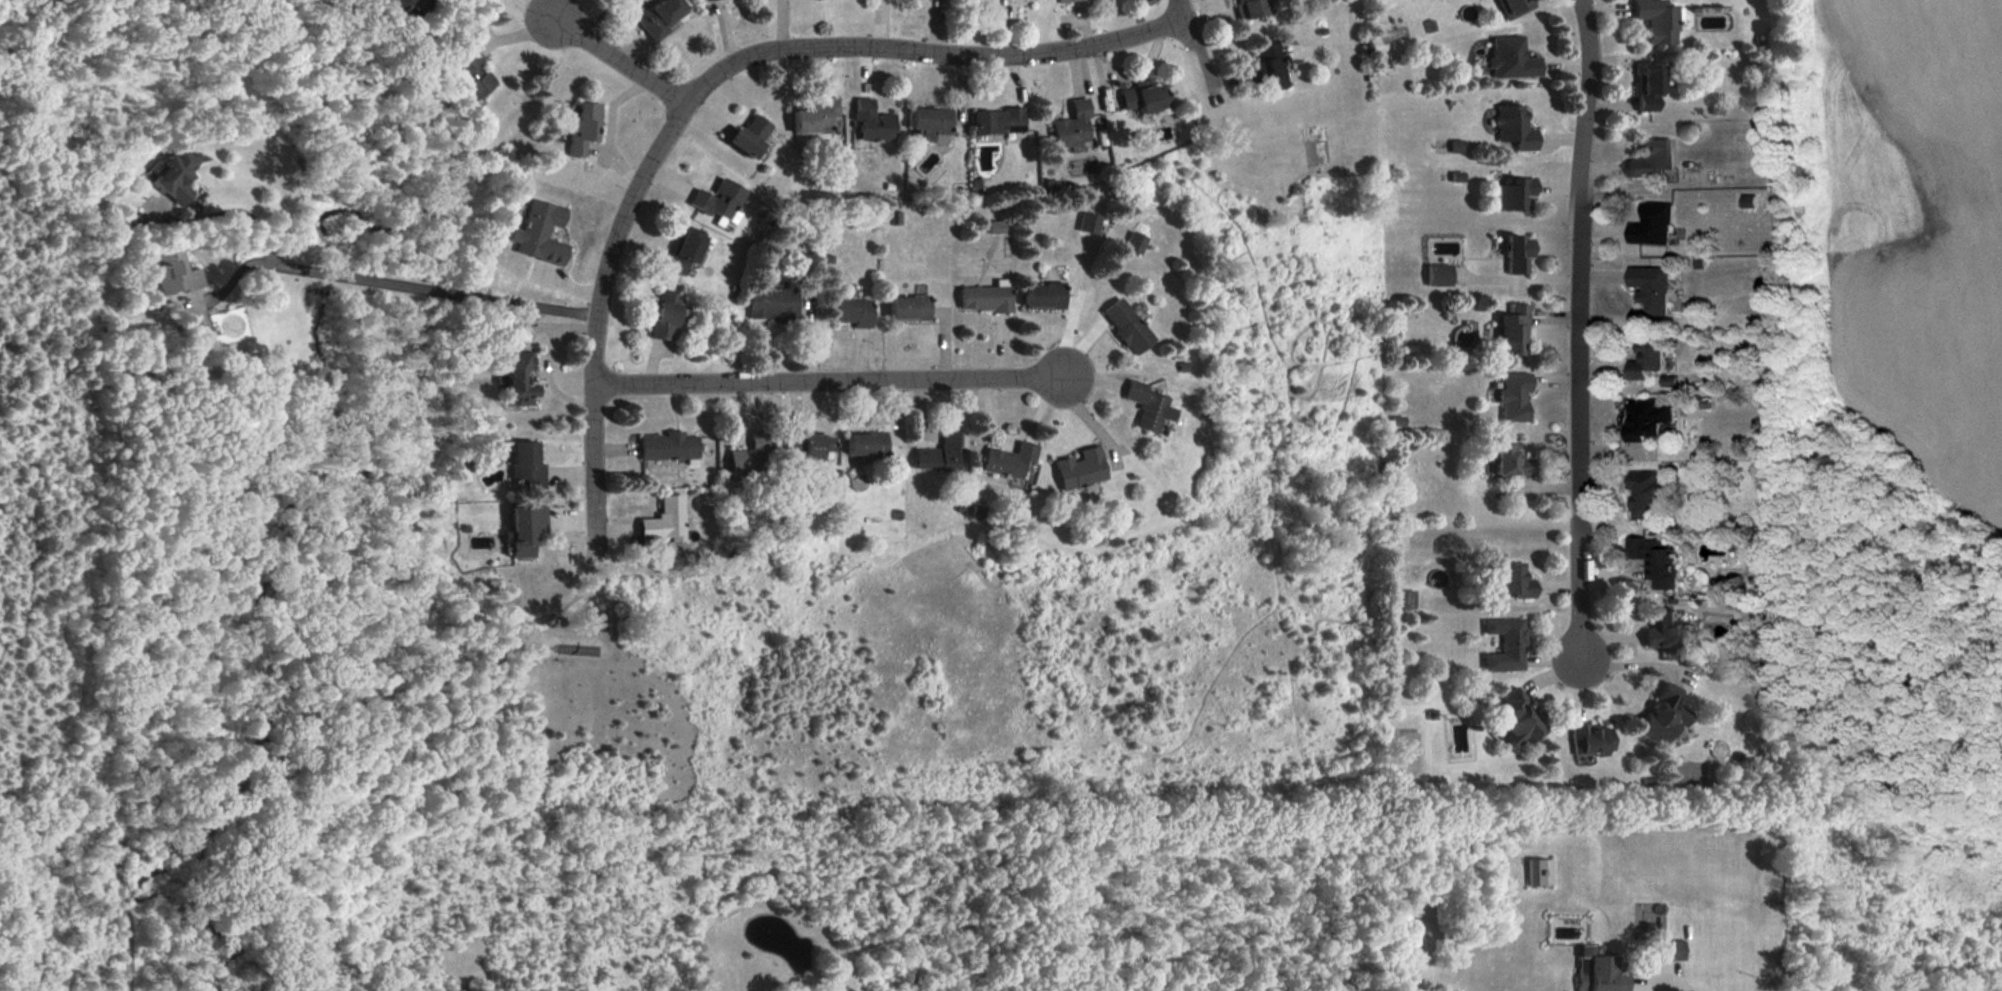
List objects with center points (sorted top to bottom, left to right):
building: (709, 0)
building: (702, 1)
building: (1069, 2)
building: (1511, 5)
building: (403, 8)
road: (532, 9)
road: (1180, 9)
building: (1247, 10)
building: (652, 13)
building: (1653, 22)
road: (1004, 27)
building: (1508, 55)
road: (618, 59)
building: (1259, 63)
building: (462, 69)
building: (1644, 82)
building: (1140, 89)
road: (681, 108)
building: (807, 113)
building: (992, 117)
building: (866, 120)
building: (925, 120)
building: (1072, 120)
building: (1508, 122)
building: (577, 123)
building: (746, 133)
building: (1649, 154)
building: (170, 176)
building: (1510, 186)
building: (711, 194)
road: (236, 211)
building: (1647, 221)
building: (538, 223)
building: (1089, 224)
building: (997, 226)
crop: (1915, 237)
building: (1136, 243)
building: (685, 246)
building: (1515, 248)
building: (1434, 269)
building: (172, 273)
road: (387, 283)
building: (1648, 289)
building: (1043, 296)
building: (984, 298)
building: (771, 305)
building: (907, 308)
building: (851, 313)
building: (664, 315)
building: (1507, 325)
building: (1126, 326)
road: (1575, 333)
building: (1644, 361)
building: (518, 381)
road: (828, 381)
building: (1510, 393)
building: (1148, 407)
building: (1646, 414)
building: (807, 445)
building: (864, 445)
building: (667, 451)
building: (936, 455)
building: (1505, 460)
building: (748, 461)
building: (1009, 461)
building: (526, 467)
building: (1077, 471)
building: (1643, 496)
building: (660, 525)
building: (524, 529)
building: (1651, 562)
building: (1499, 576)
building: (1404, 599)
building: (1659, 630)
building: (1500, 643)
building: (1659, 713)
building: (1507, 716)
building: (1584, 736)
building: (1539, 872)
building: (1672, 950)
building: (1598, 972)
road: (1670, 983)
road: (1666, 986)

